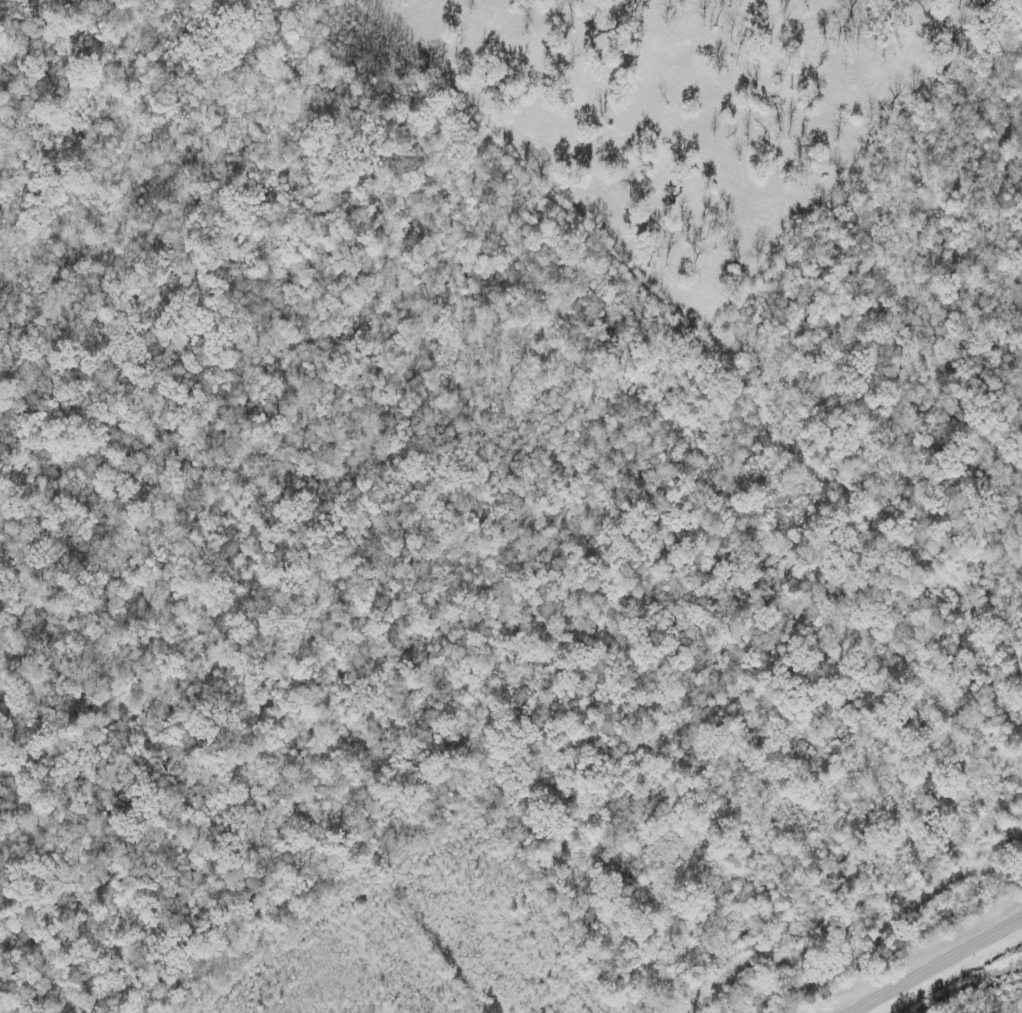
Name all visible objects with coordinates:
road: (936, 965)

